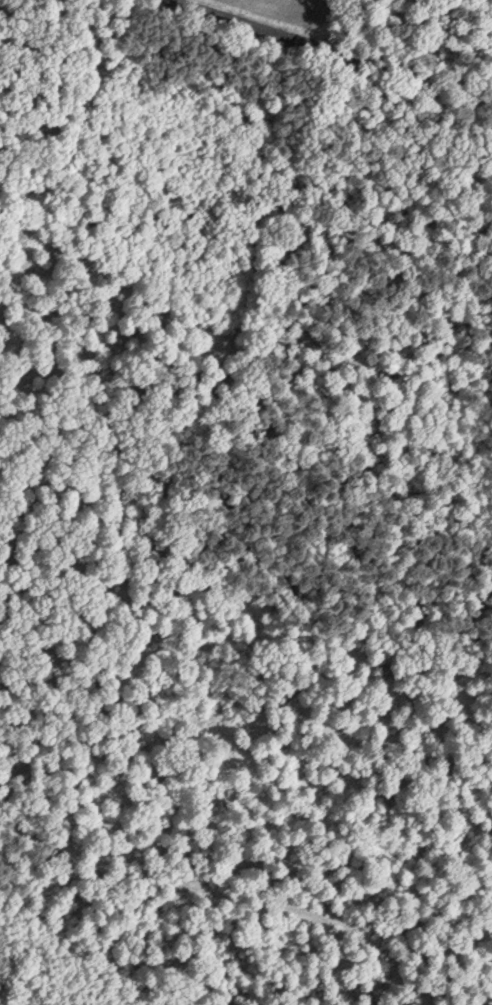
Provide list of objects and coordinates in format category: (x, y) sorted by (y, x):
crop: (296, 7)
road: (326, 50)

